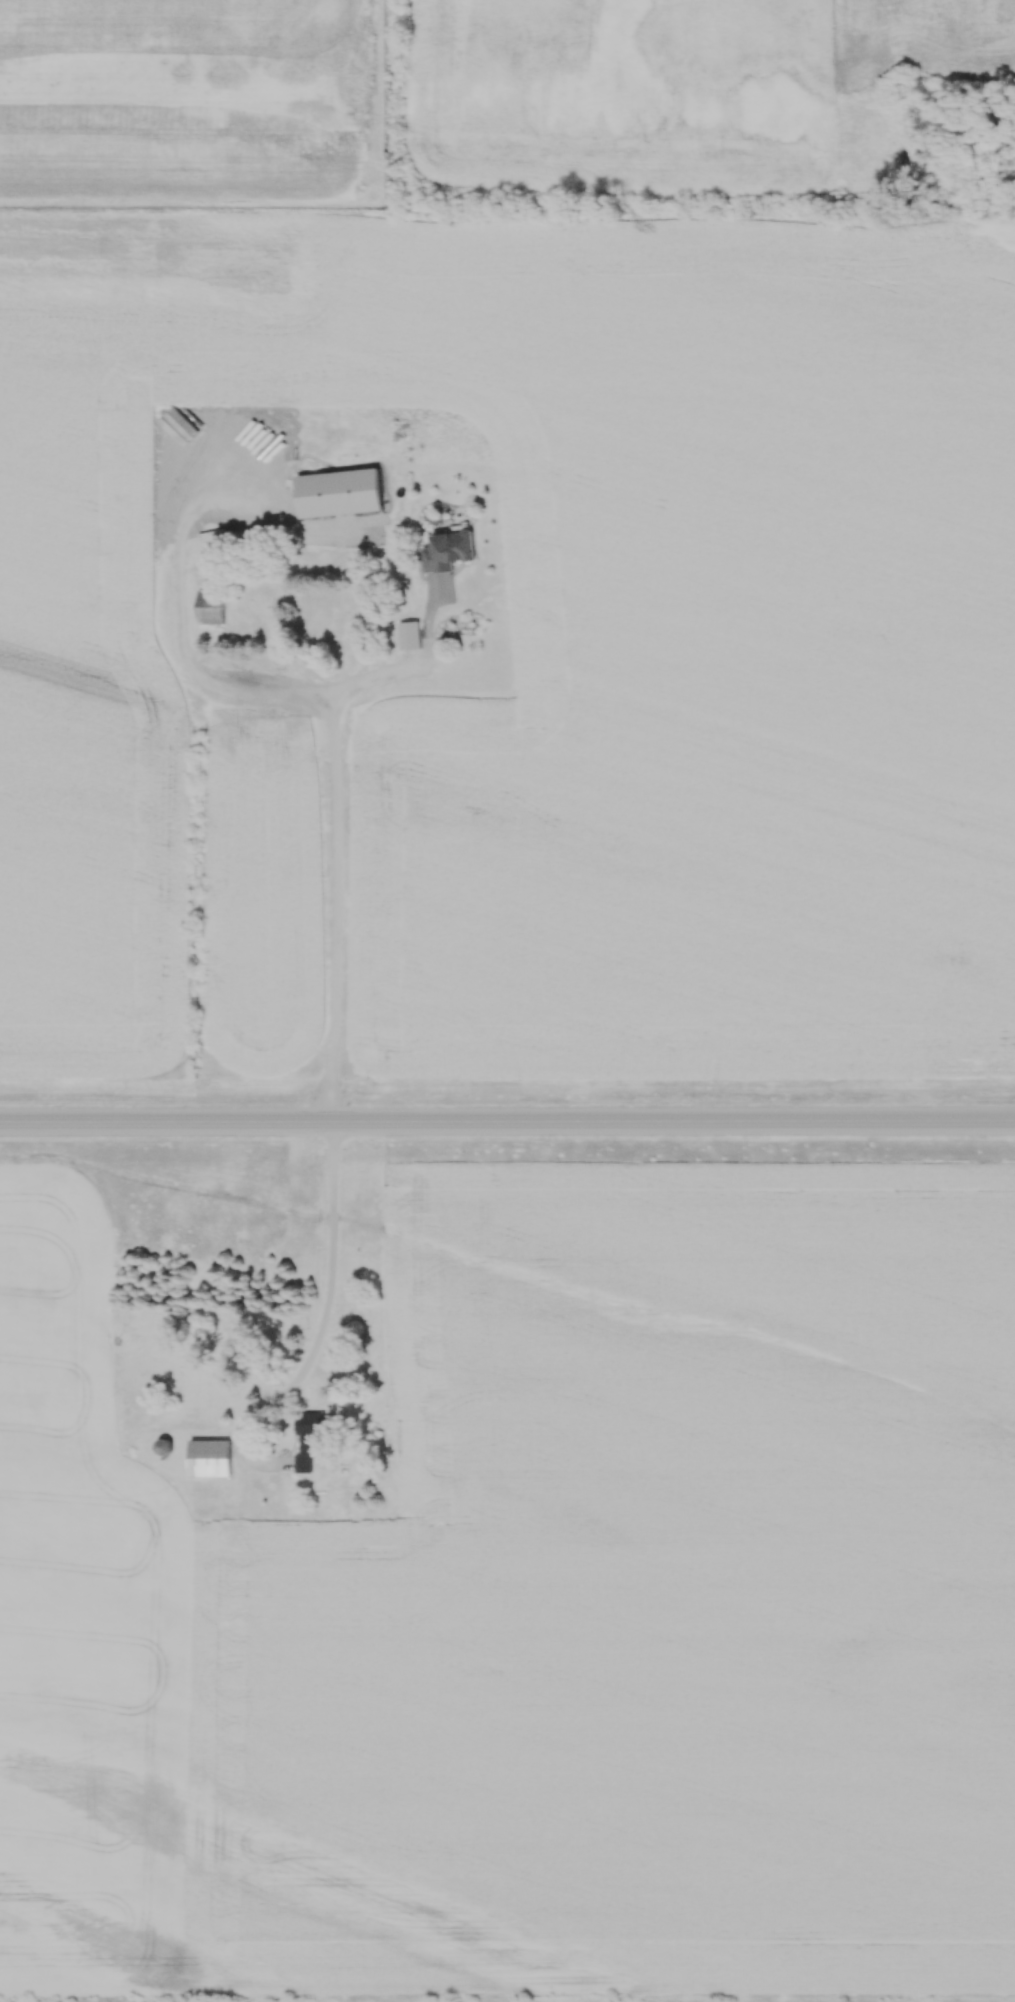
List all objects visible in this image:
road: (326, 1022)
road: (507, 1121)

